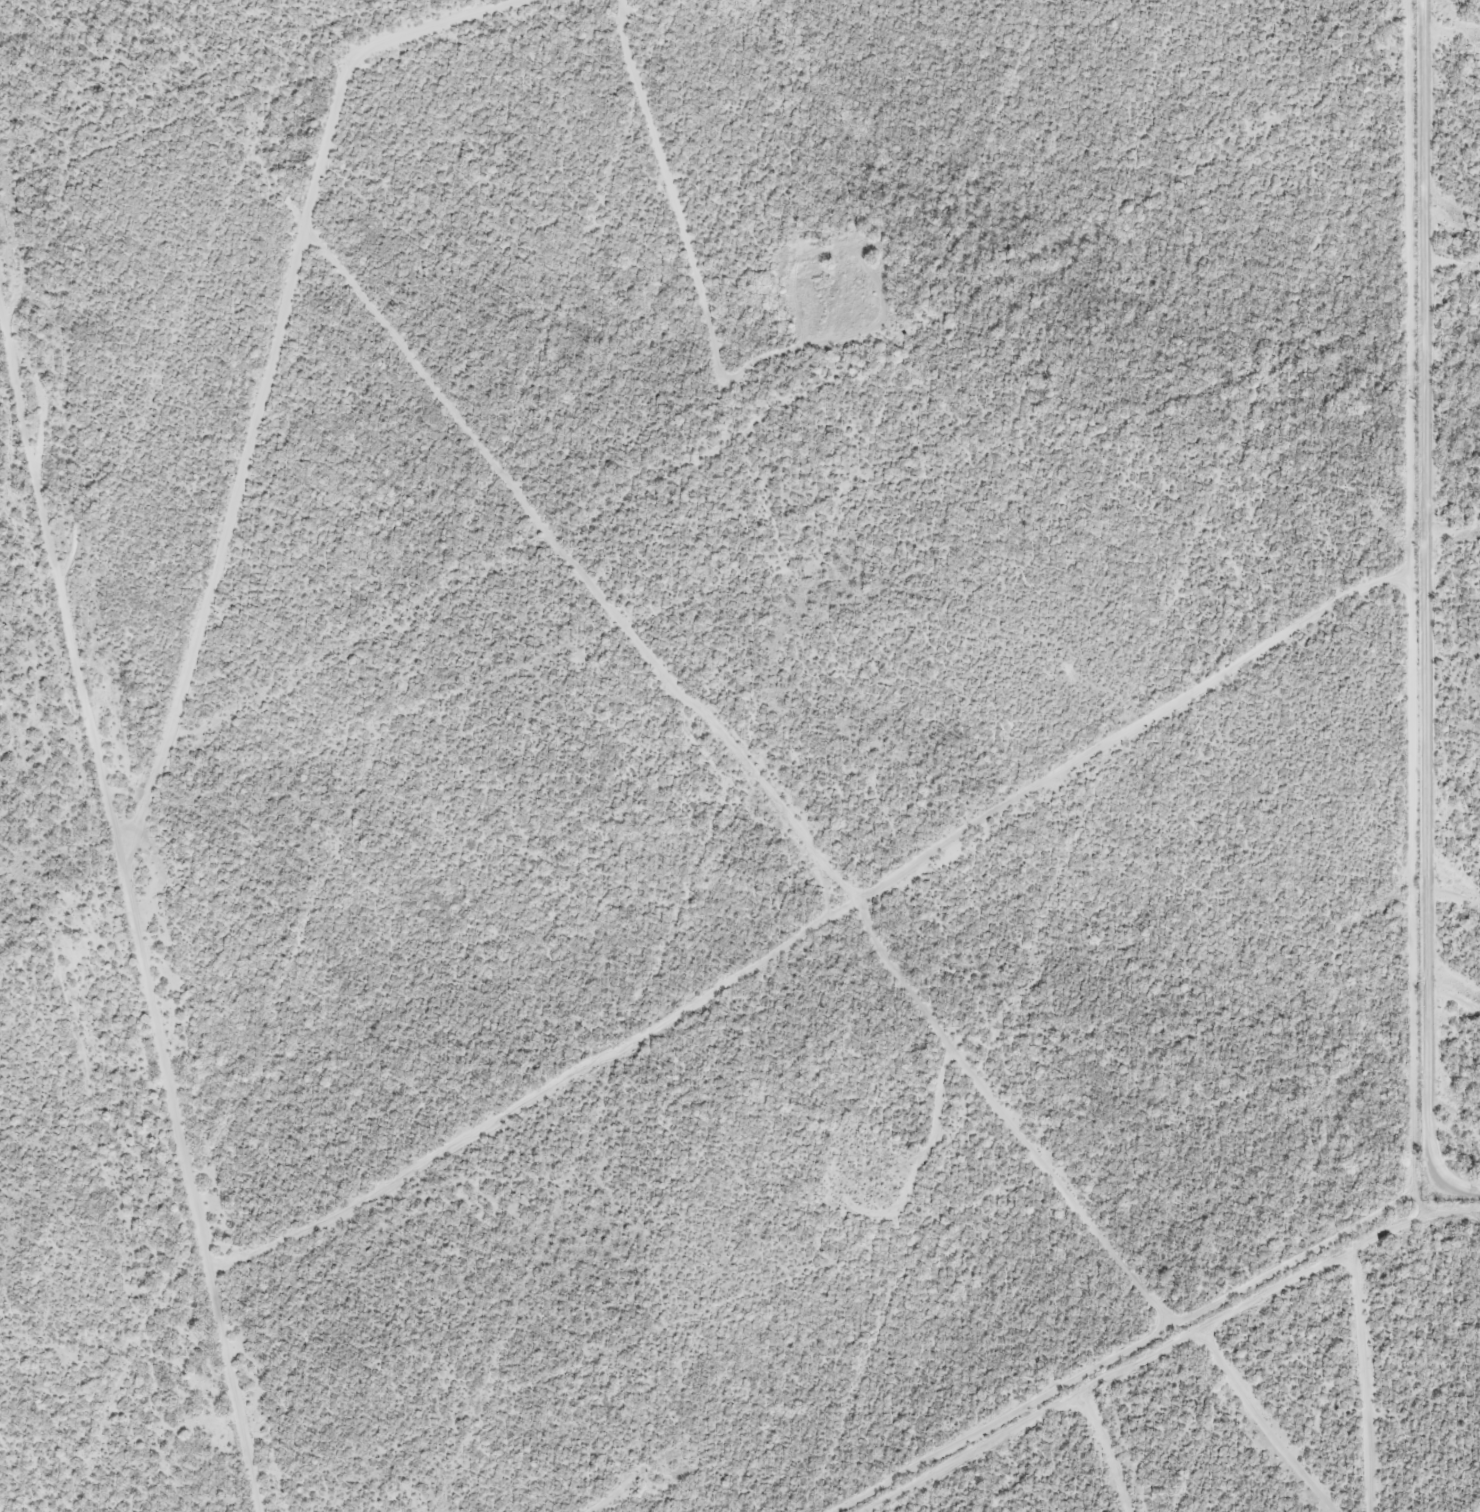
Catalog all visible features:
road: (1420, 622)

